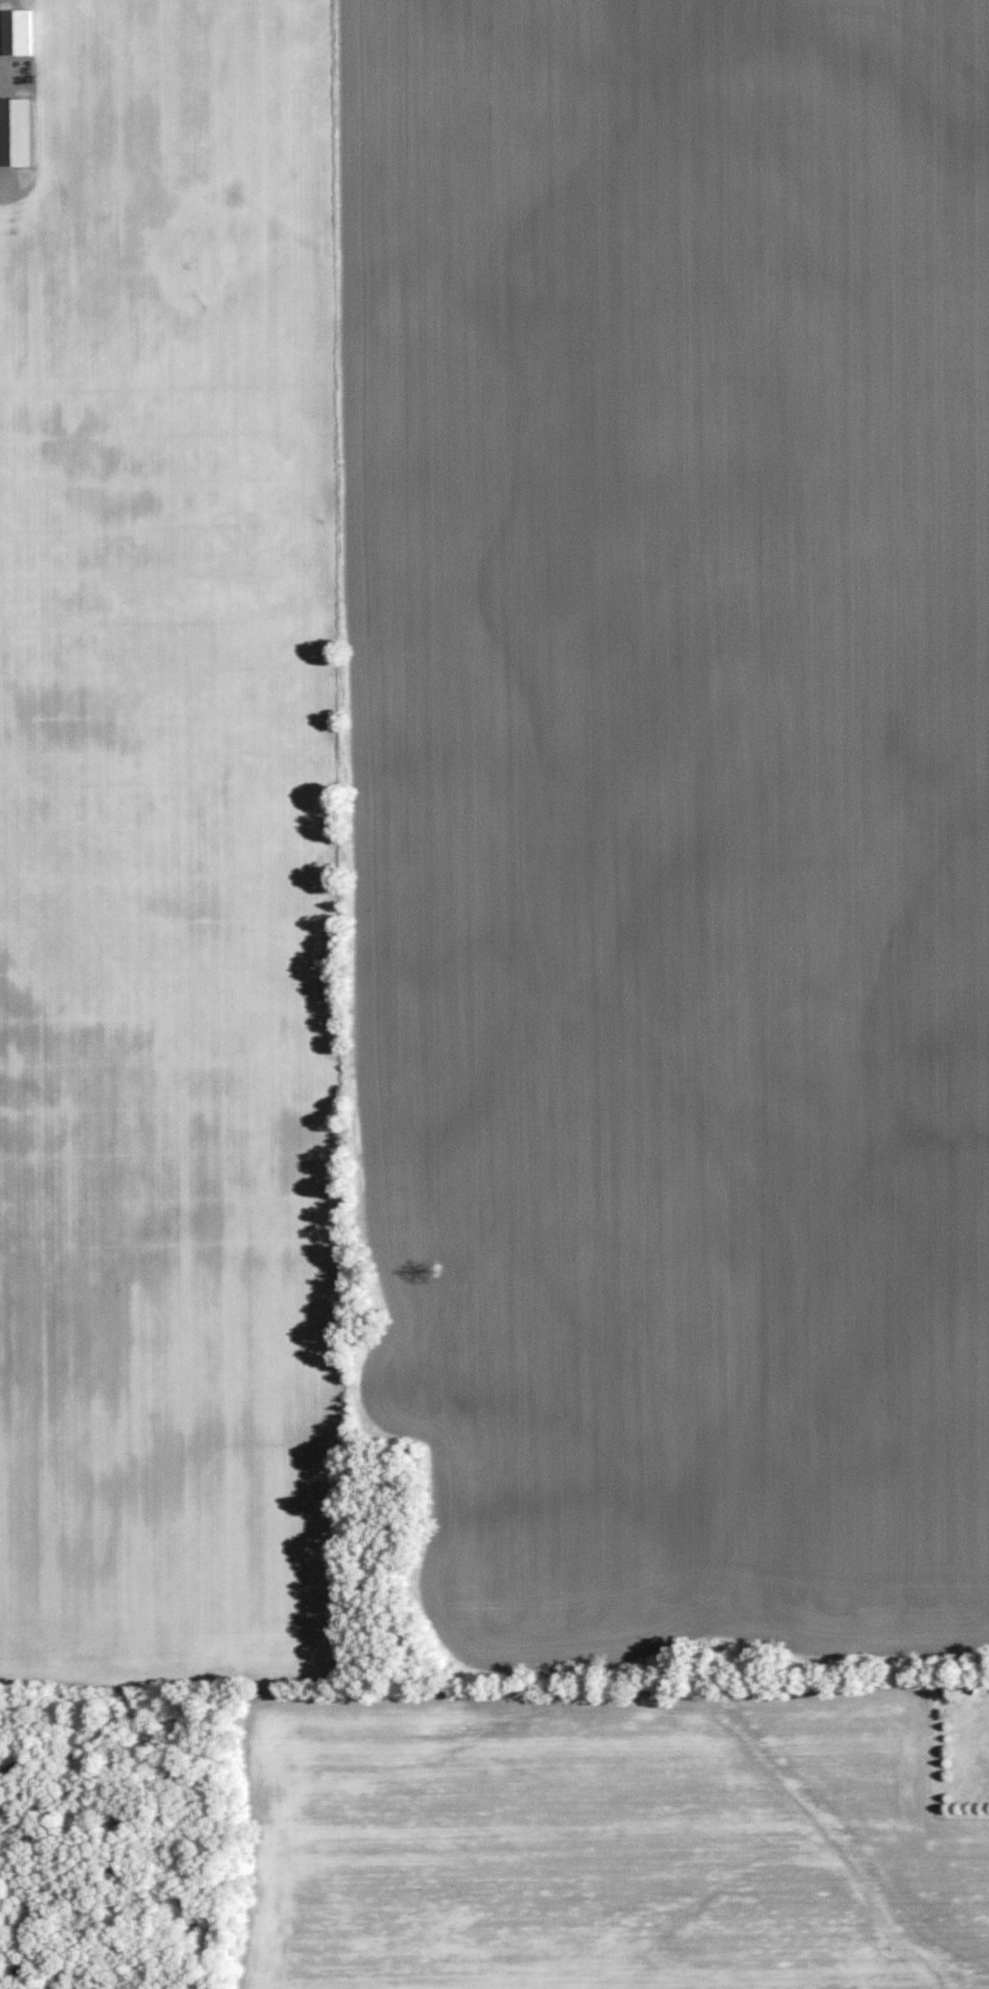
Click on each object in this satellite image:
building: (19, 34)
building: (17, 134)

